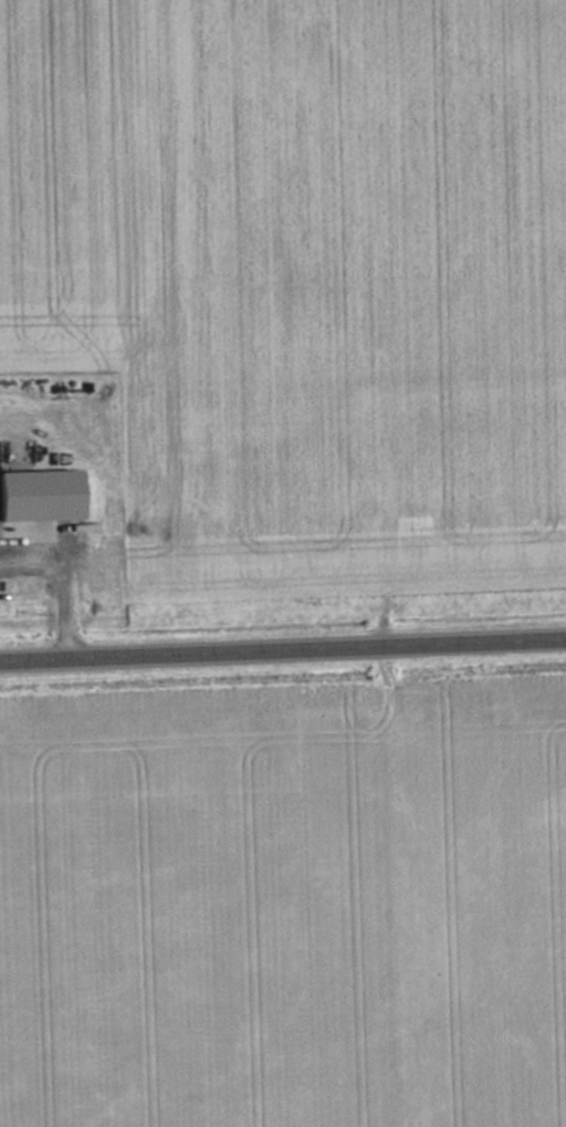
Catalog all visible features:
building: (41, 495)
road: (283, 646)

